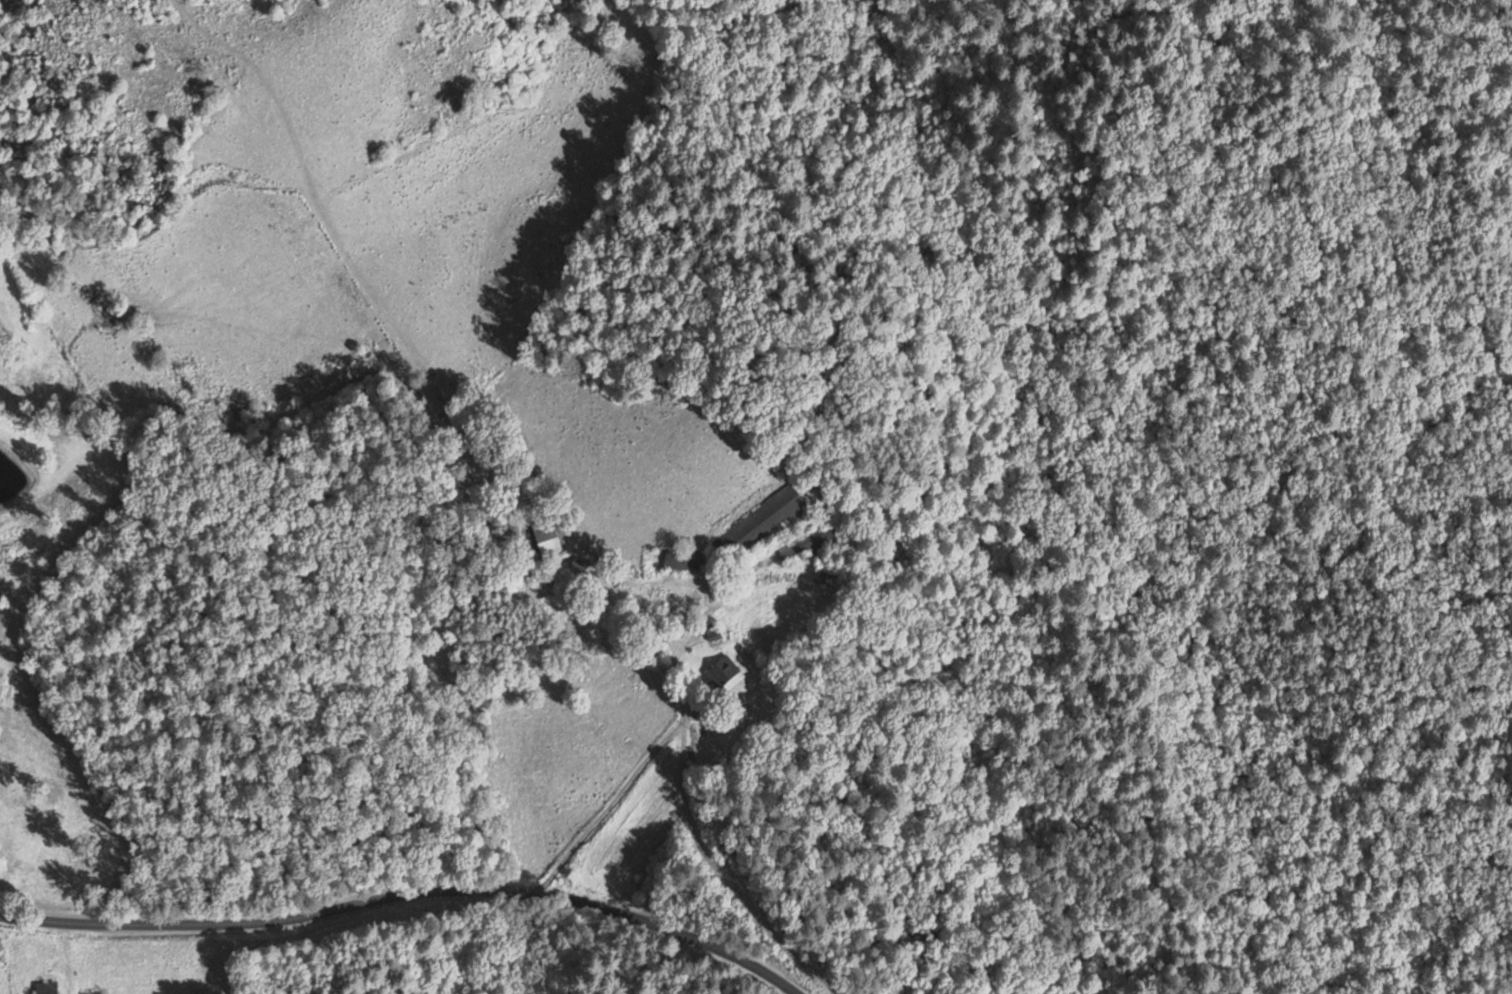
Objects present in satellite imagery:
building: (545, 540)
building: (680, 559)
building: (723, 670)
road: (678, 720)
road: (409, 898)

